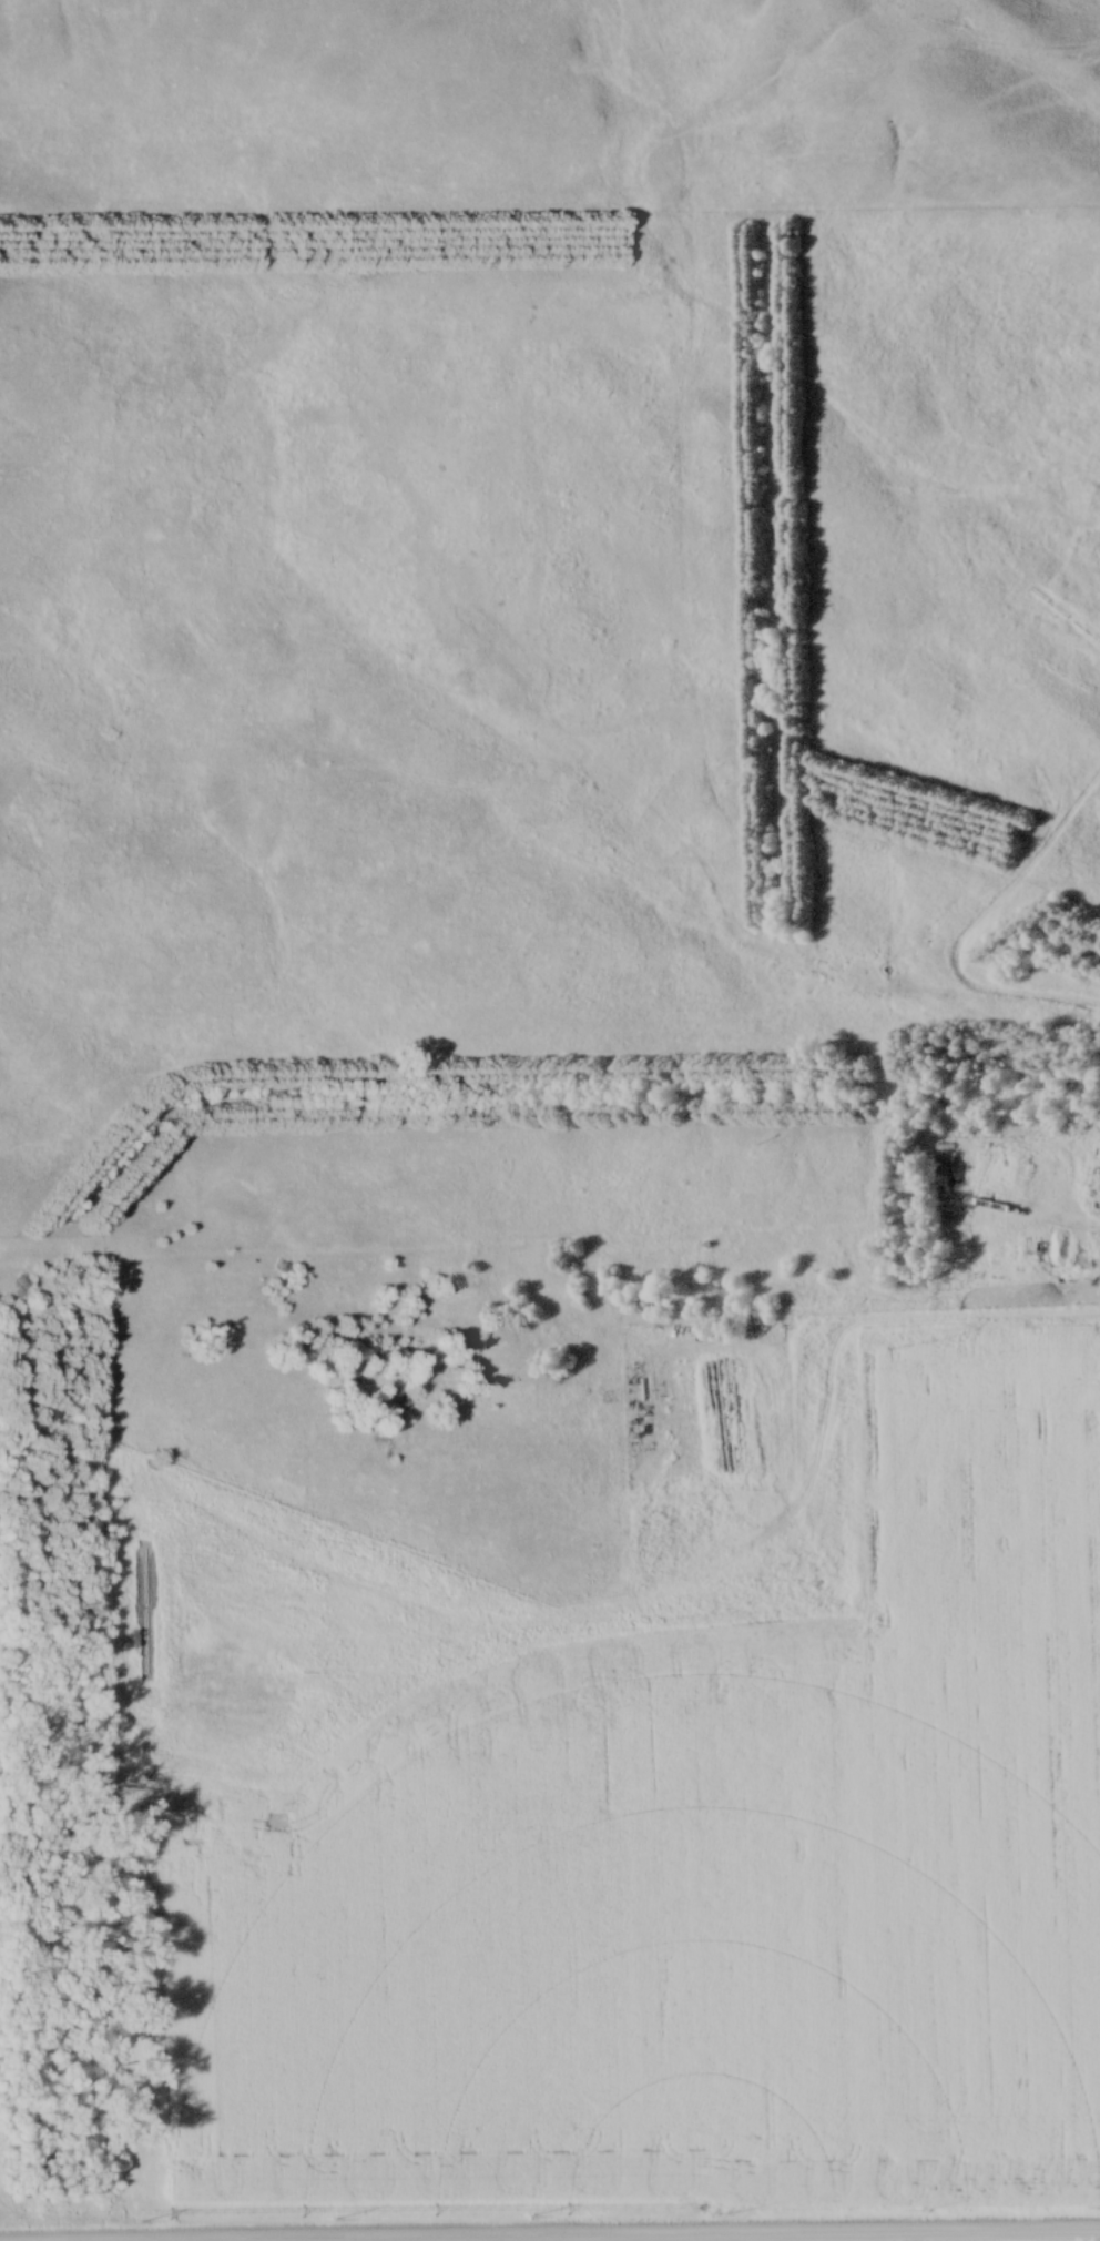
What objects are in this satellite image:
building: (947, 1164)
road: (664, 2234)

